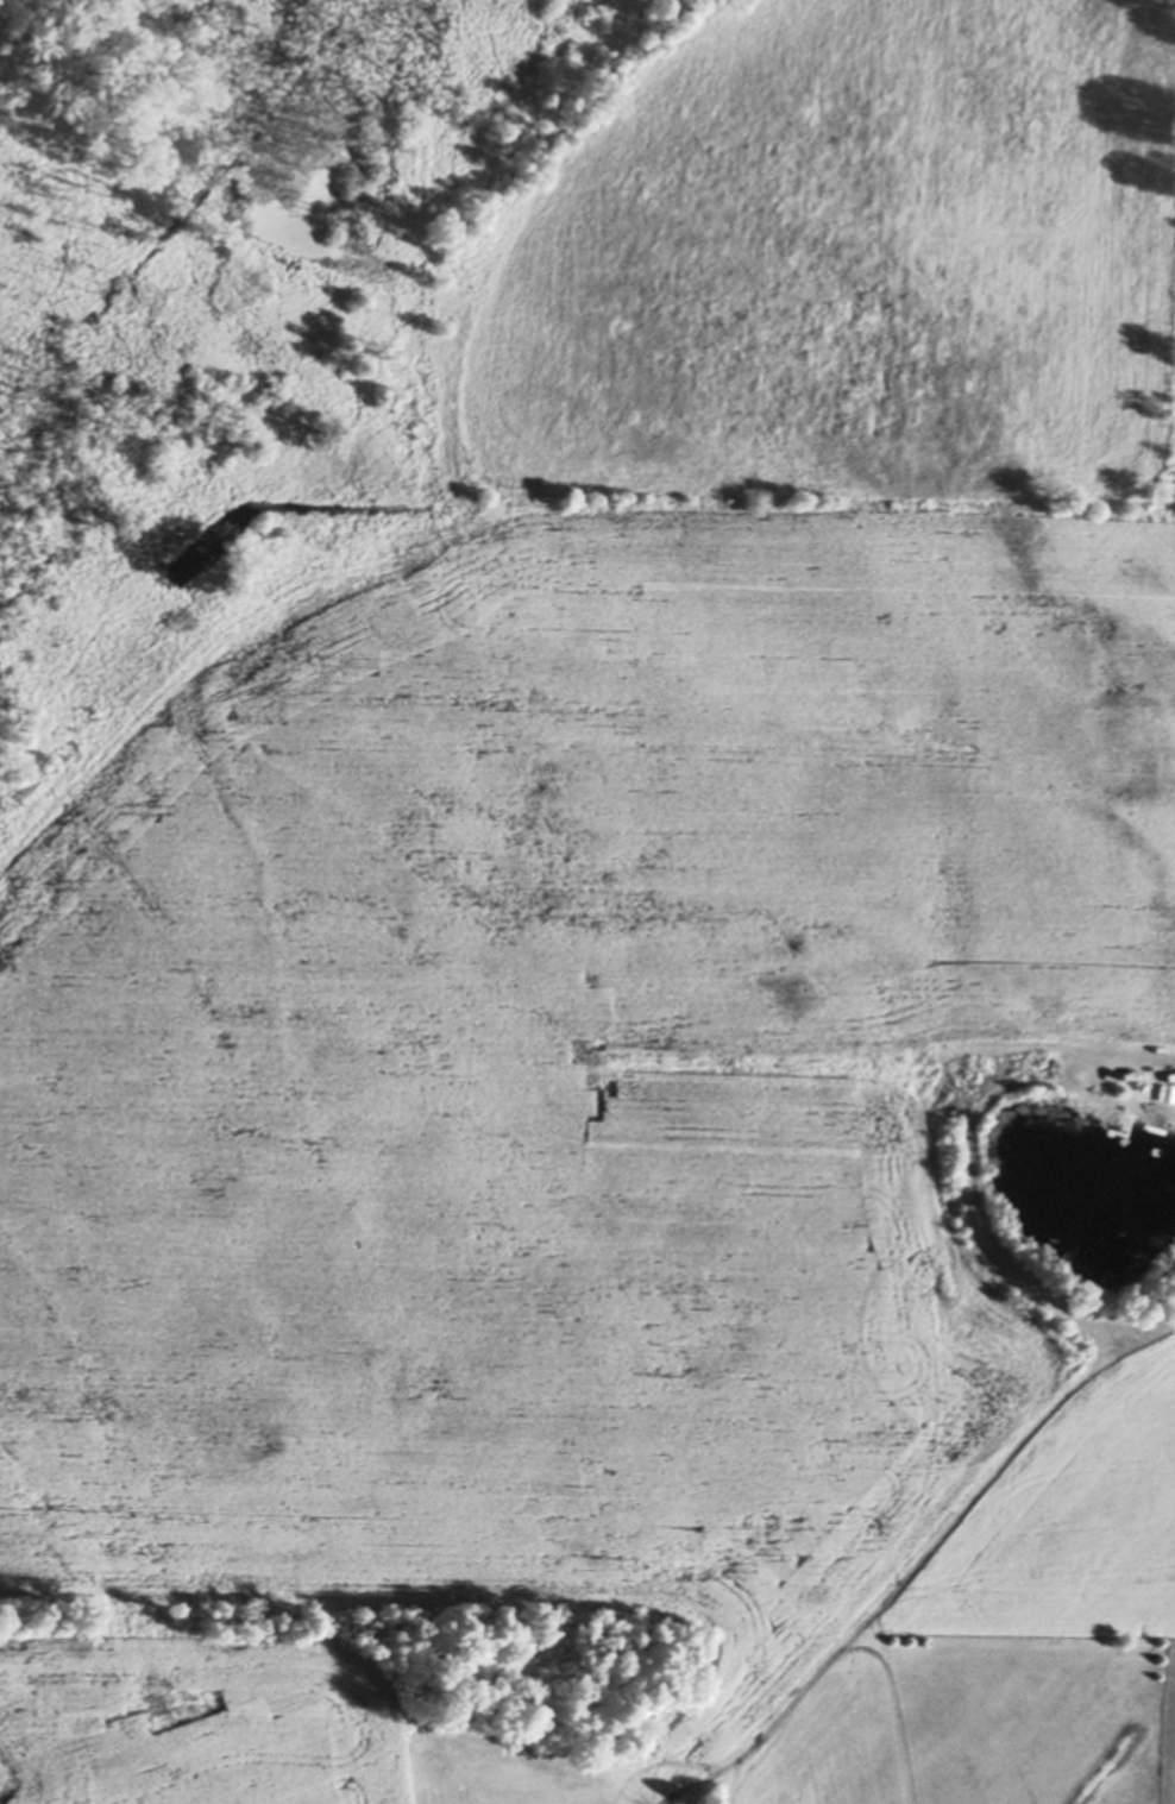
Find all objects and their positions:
road: (1174, 1057)

